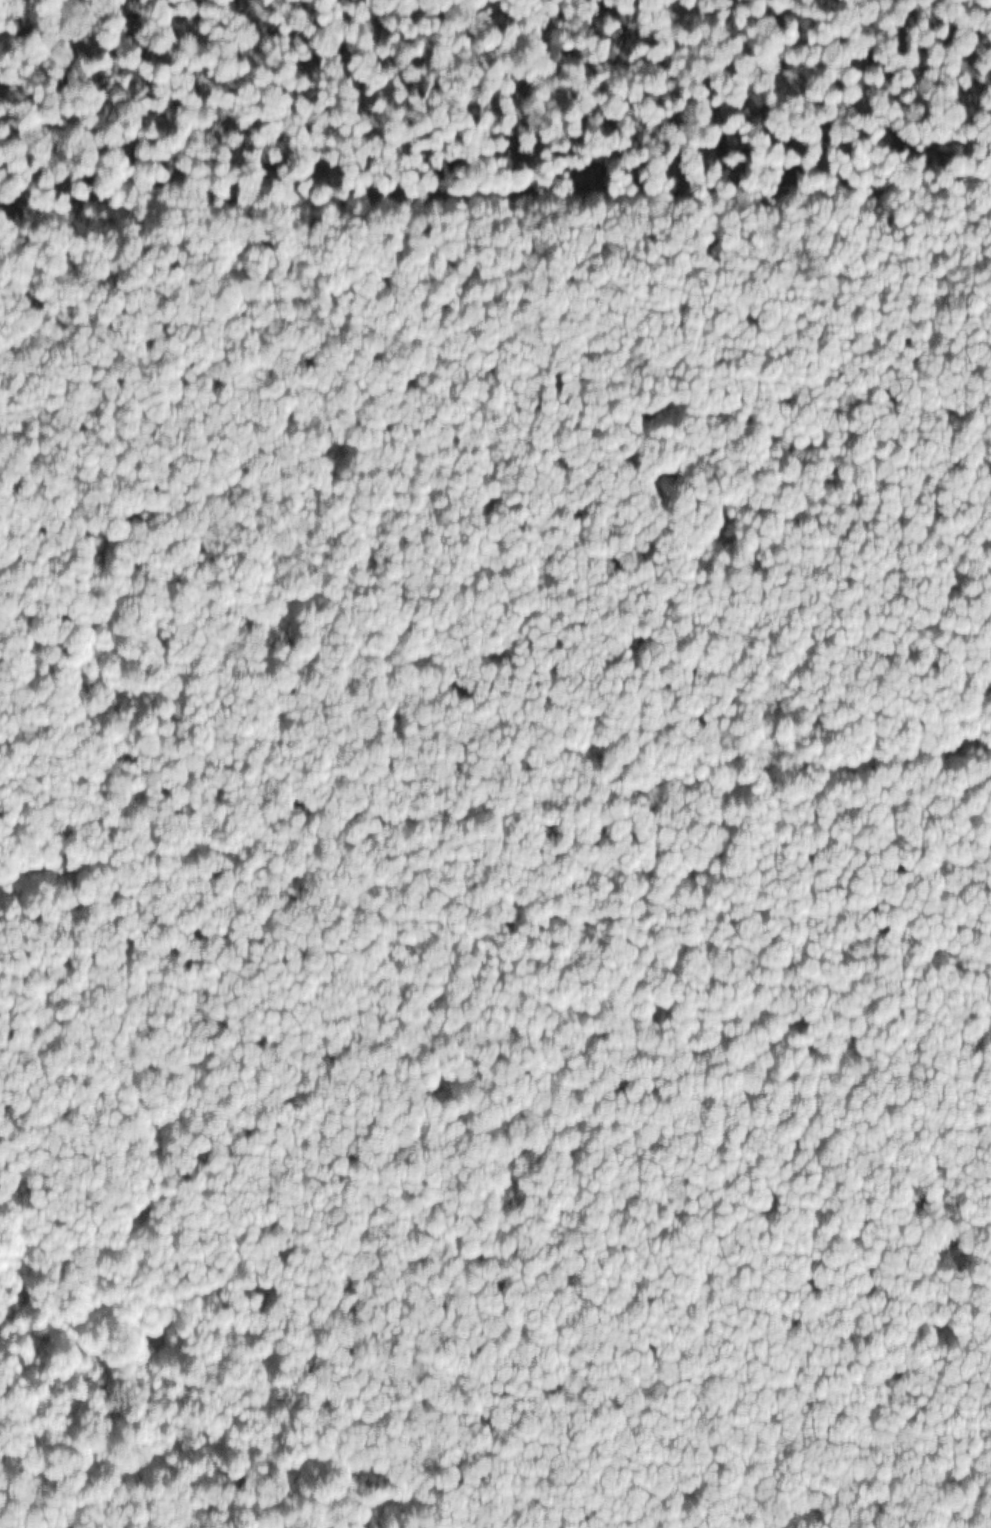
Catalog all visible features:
road: (520, 1371)

